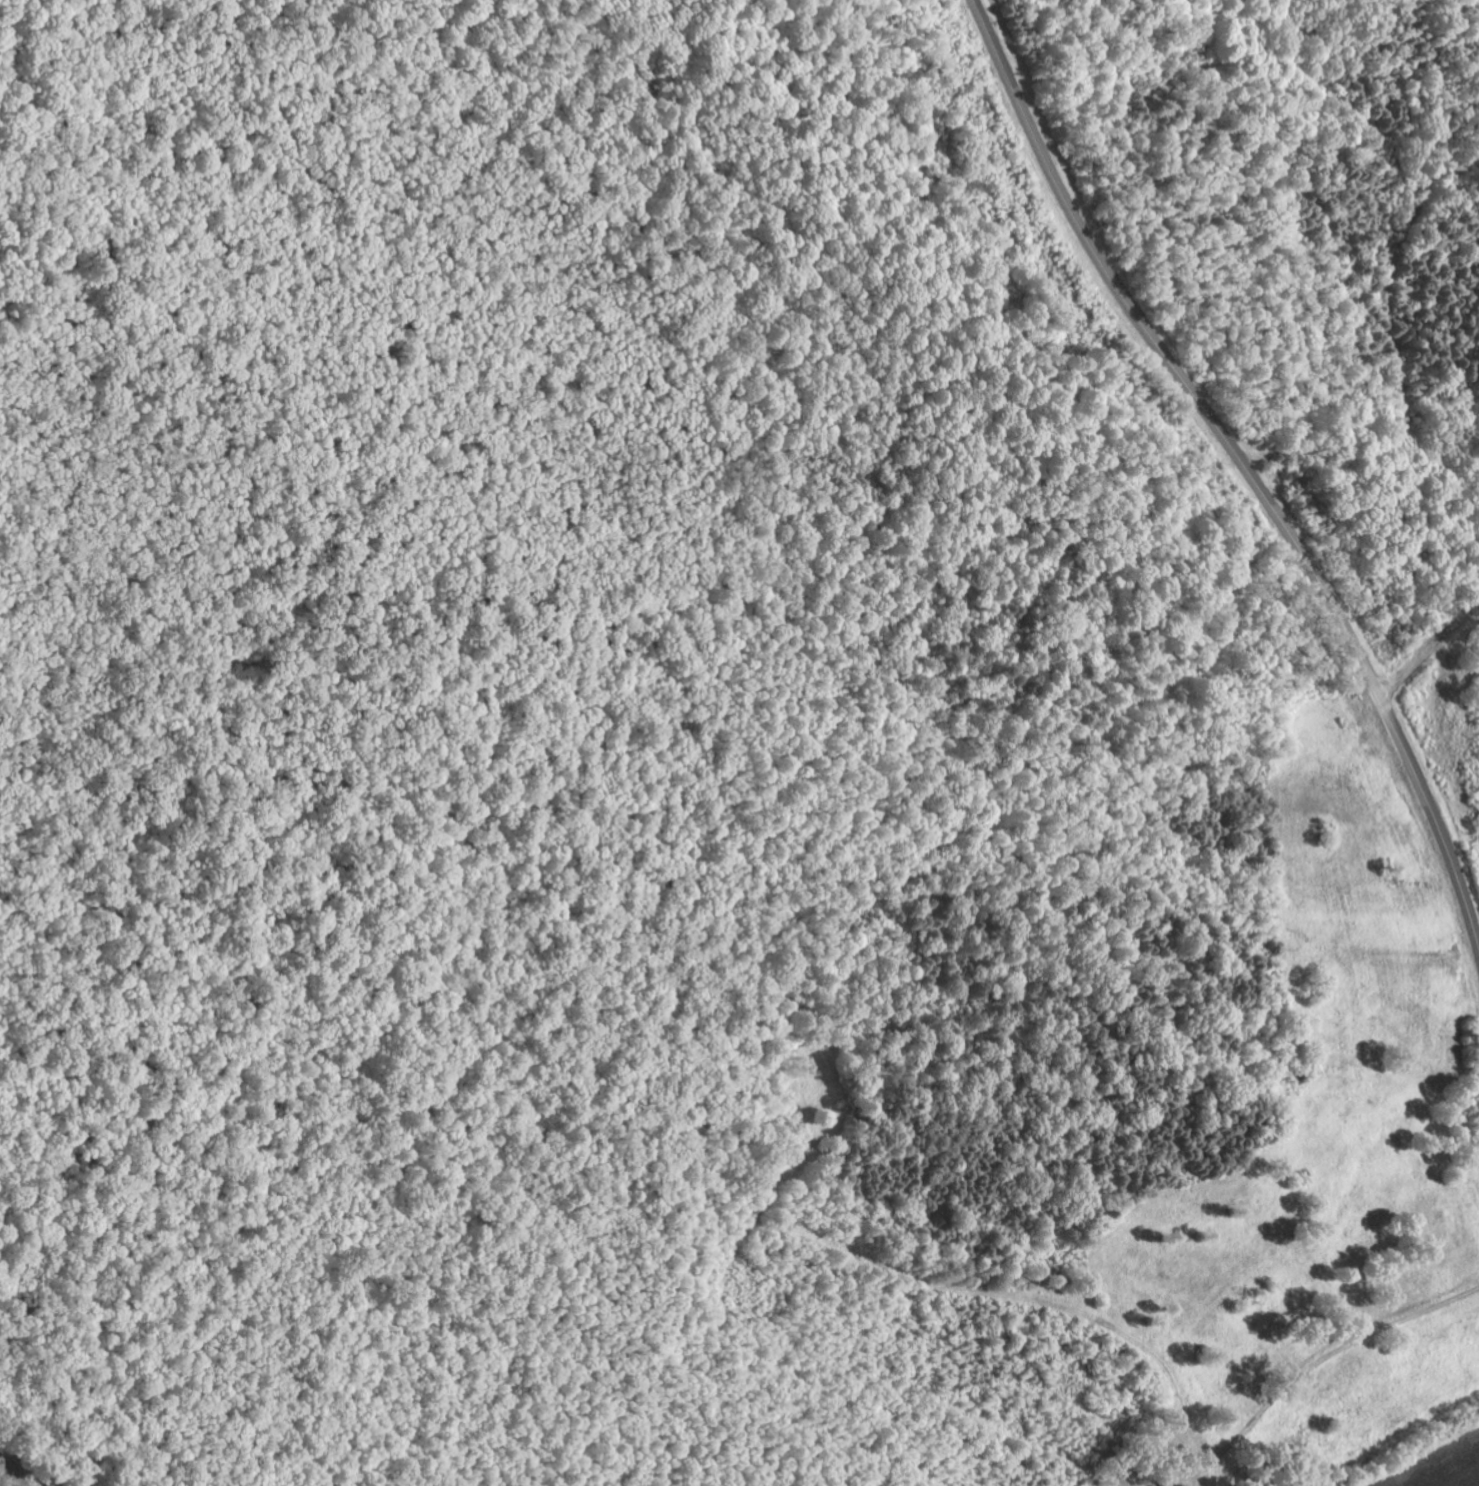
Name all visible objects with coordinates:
road: (1243, 462)
road: (1424, 649)
park: (1142, 1478)

